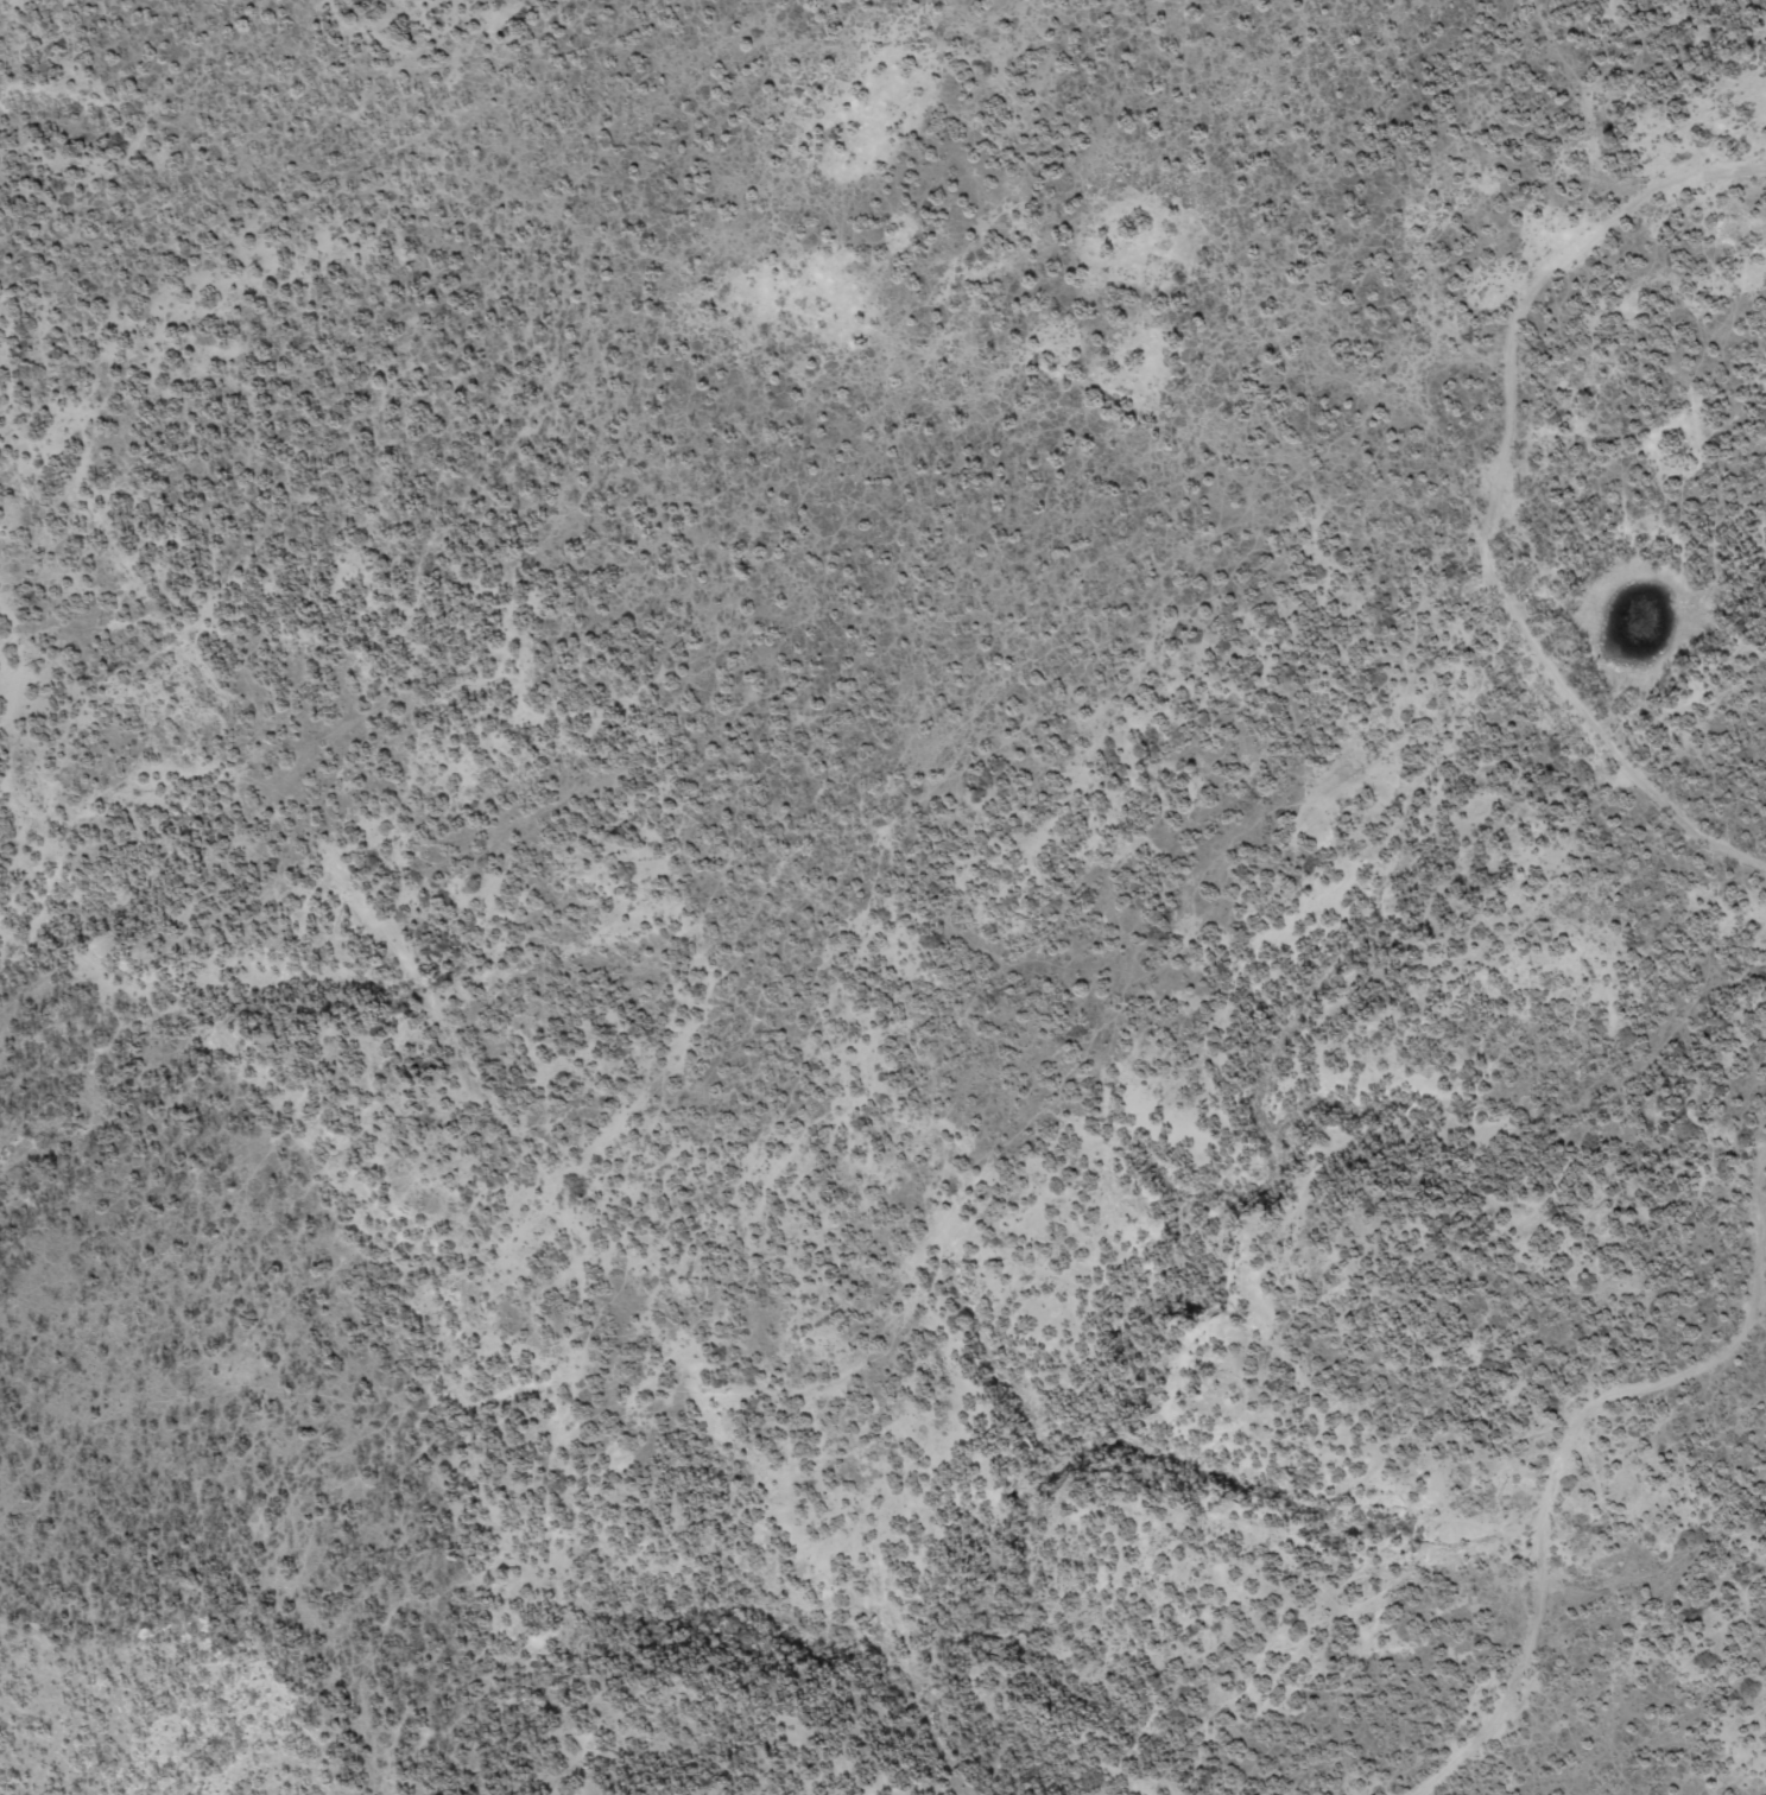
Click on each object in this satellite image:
road: (1695, 909)
road: (651, 963)

